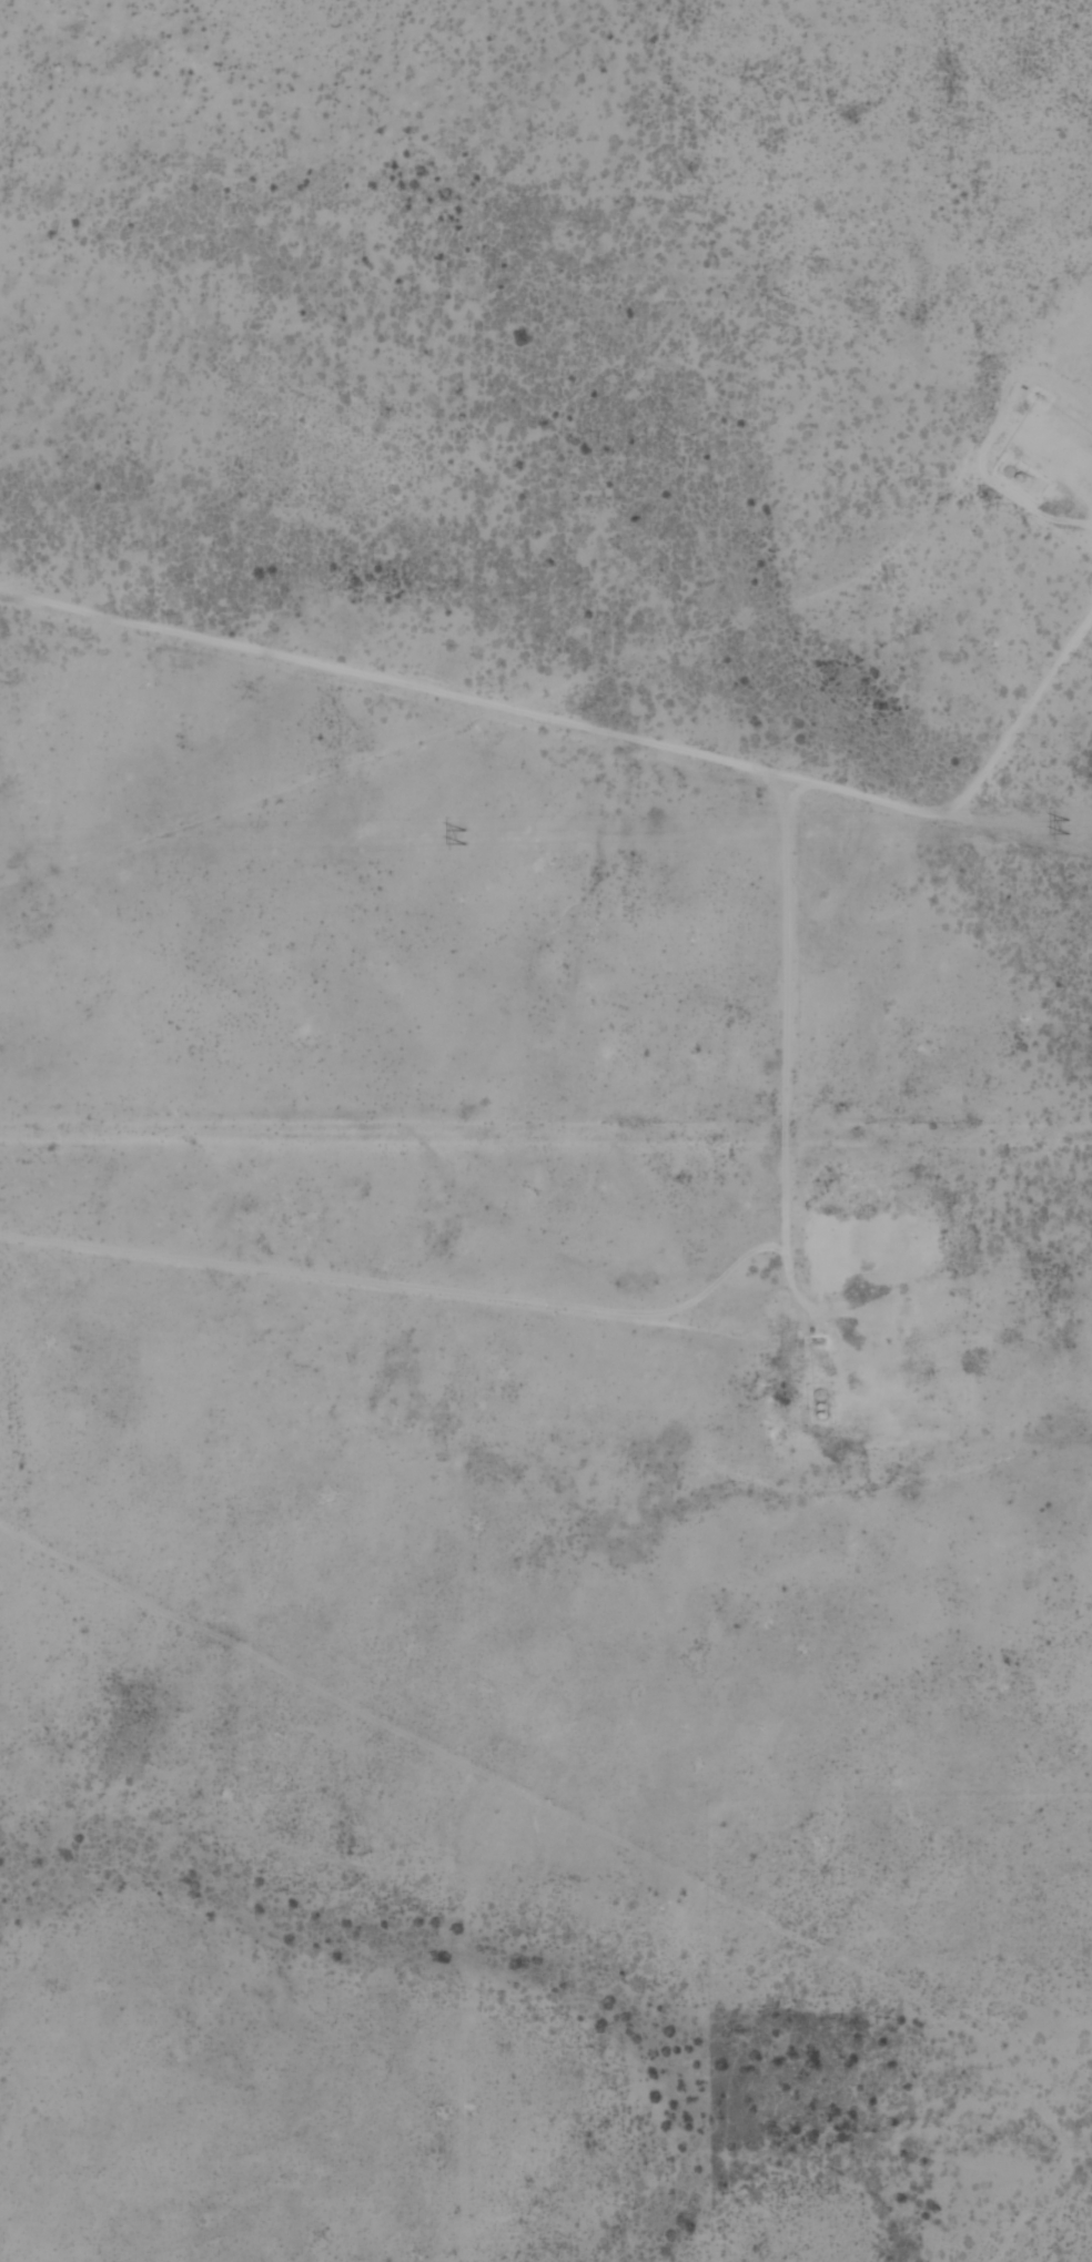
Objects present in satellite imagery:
road: (1021, 714)
road: (548, 716)
power tower: (1064, 825)
power tower: (462, 835)
road: (756, 1103)
road: (1008, 2038)

